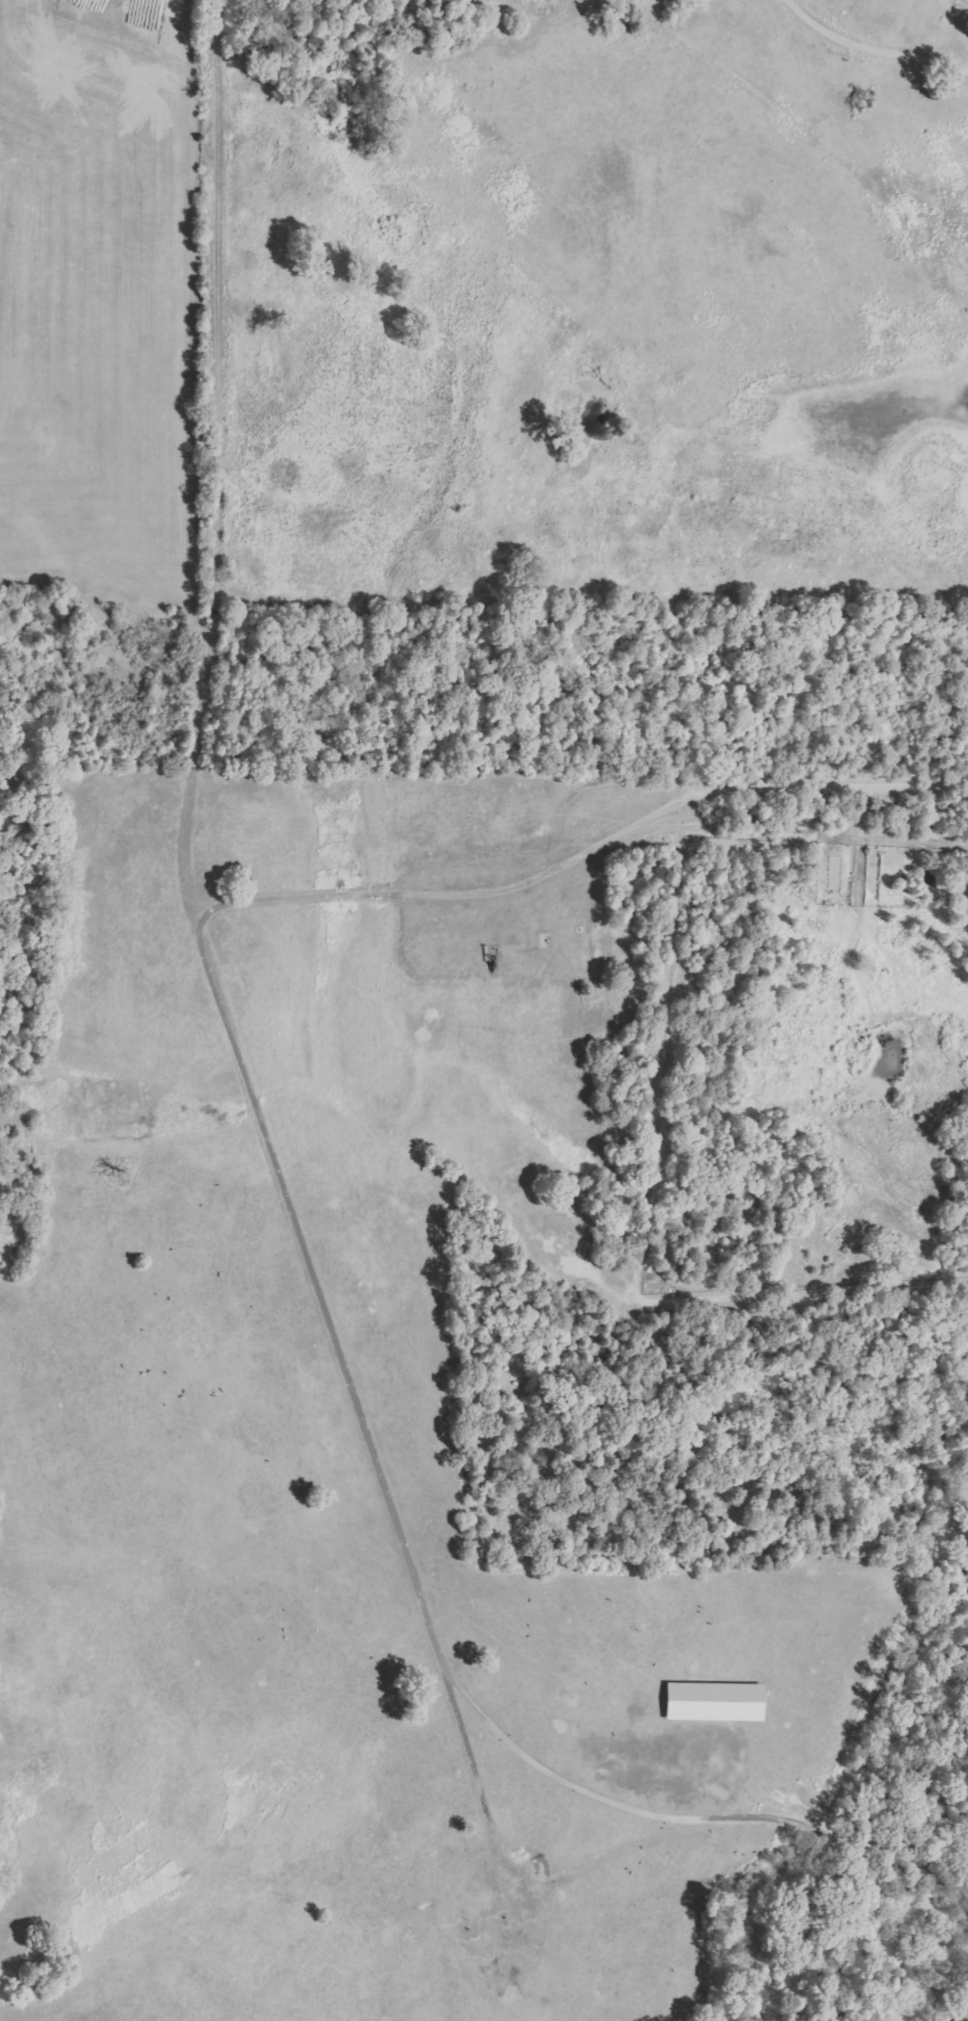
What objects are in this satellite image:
building: (709, 1703)

